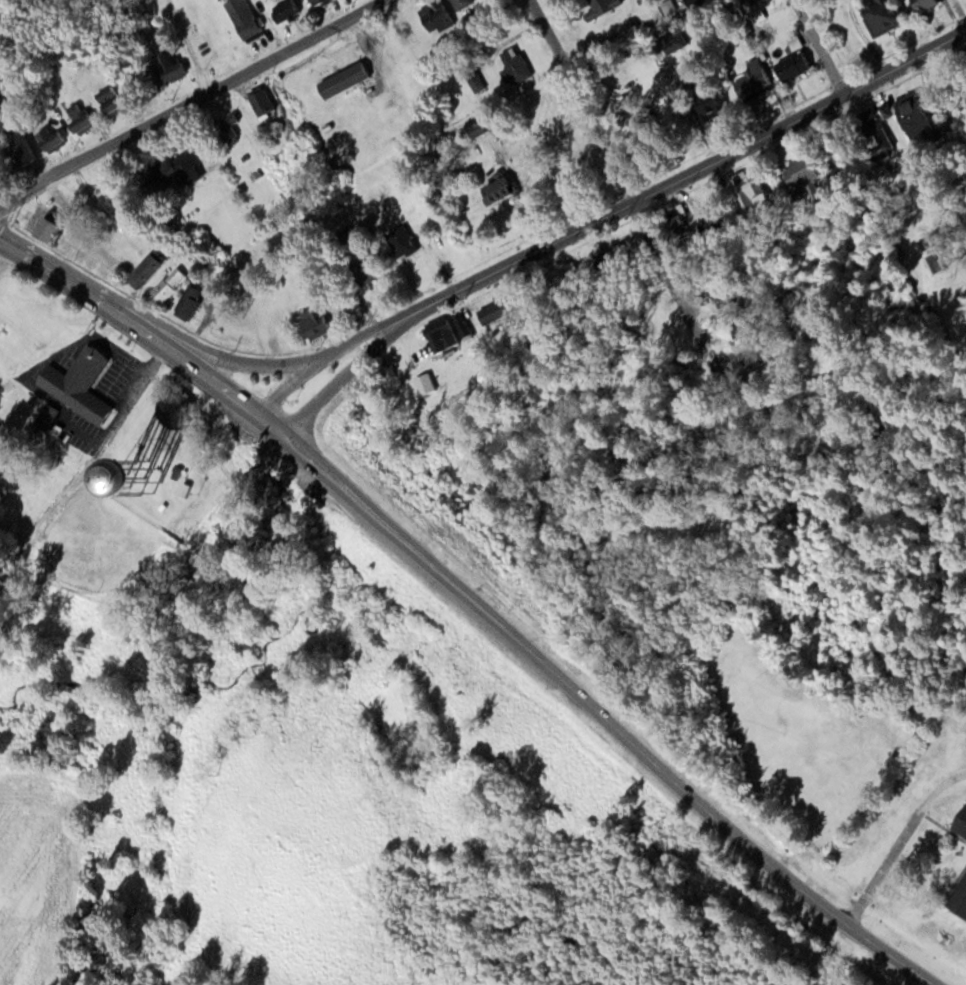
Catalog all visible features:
building: (758, 1)
building: (321, 2)
building: (465, 3)
building: (698, 3)
building: (922, 5)
building: (605, 6)
building: (289, 10)
building: (441, 15)
building: (878, 15)
building: (247, 18)
building: (409, 31)
building: (683, 41)
road: (820, 47)
building: (799, 64)
building: (518, 65)
building: (170, 66)
building: (758, 72)
building: (114, 97)
road: (194, 102)
building: (266, 102)
building: (722, 106)
building: (927, 113)
building: (84, 116)
building: (878, 120)
building: (488, 128)
building: (54, 136)
building: (27, 146)
road: (625, 169)
building: (177, 172)
building: (812, 172)
building: (504, 186)
building: (761, 189)
building: (118, 195)
road: (610, 215)
building: (685, 222)
building: (48, 223)
building: (151, 268)
building: (173, 284)
road: (92, 294)
building: (729, 296)
building: (195, 300)
building: (501, 312)
building: (322, 318)
building: (469, 326)
building: (454, 343)
road: (266, 364)
building: (83, 383)
building: (50, 419)
building: (208, 462)
road: (85, 468)
building: (204, 478)
road: (370, 508)
building: (958, 820)
road: (737, 835)
building: (957, 896)

